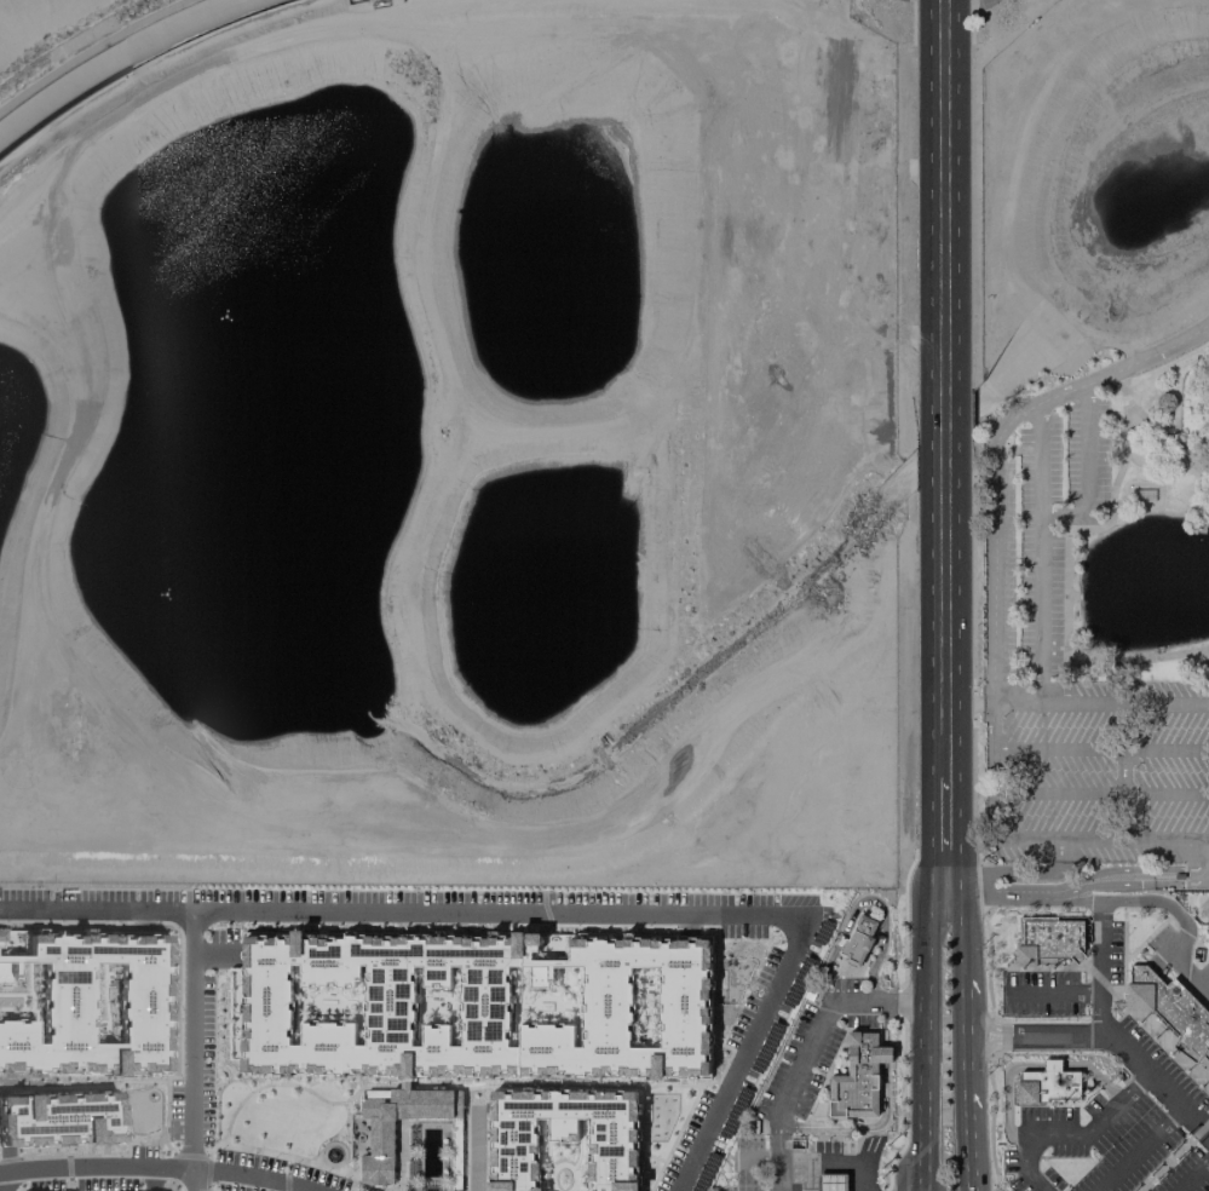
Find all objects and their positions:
road: (1125, 370)
road: (944, 392)
road: (1034, 409)
road: (1168, 438)
park: (1093, 448)
road: (1092, 478)
road: (996, 540)
road: (1089, 541)
parking lot: (1034, 603)
road: (1042, 638)
road: (997, 694)
road: (1020, 704)
road: (1103, 749)
road: (1103, 798)
road: (945, 840)
road: (1029, 851)
road: (1012, 874)
road: (1084, 887)
road: (1086, 898)
road: (859, 901)
road: (1164, 903)
building: (1202, 907)
road: (94, 908)
road: (650, 911)
road: (960, 934)
building: (856, 937)
building: (1049, 937)
road: (1104, 967)
road: (1188, 971)
road: (1054, 994)
building: (483, 1000)
building: (1174, 1013)
road: (1032, 1034)
road: (927, 1038)
road: (961, 1042)
road: (808, 1046)
road: (191, 1049)
road: (1029, 1065)
building: (856, 1080)
road: (1156, 1084)
building: (1046, 1086)
road: (885, 1112)
building: (59, 1118)
road: (1169, 1121)
building: (563, 1135)
building: (380, 1137)
road: (1078, 1137)
road: (474, 1149)
road: (962, 1149)
road: (799, 1161)
road: (1130, 1162)
road: (96, 1167)
road: (253, 1174)
road: (859, 1175)
road: (1194, 1176)
building: (830, 1183)
gas station: (830, 1183)
road: (1035, 1184)

